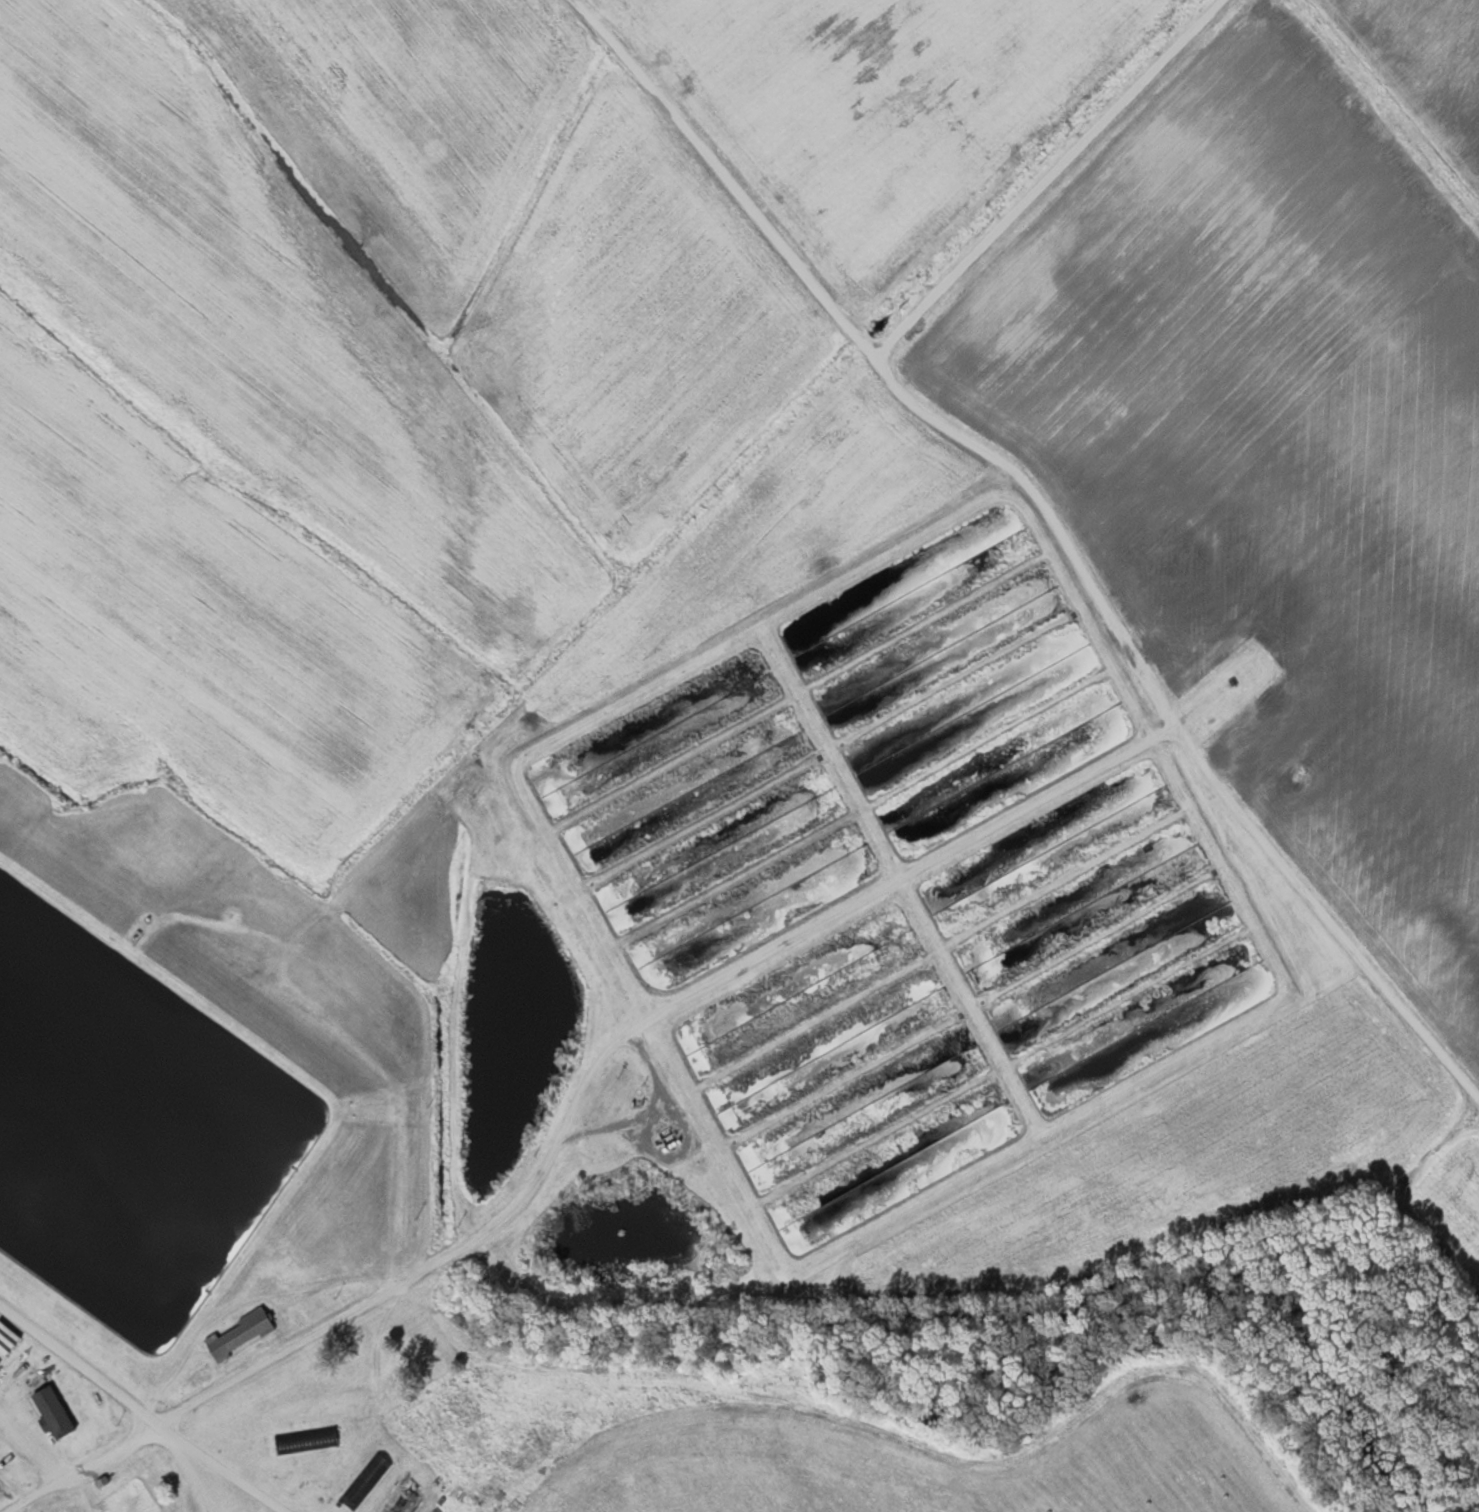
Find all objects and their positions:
road: (883, 362)
wastewater plant: (948, 680)
wastewater plant: (695, 825)
wastewater plant: (1099, 949)
road: (733, 975)
wastewater plant: (843, 1093)
building: (238, 1335)
building: (52, 1412)
road: (143, 1424)
building: (306, 1440)
road: (27, 1442)
building: (365, 1481)

